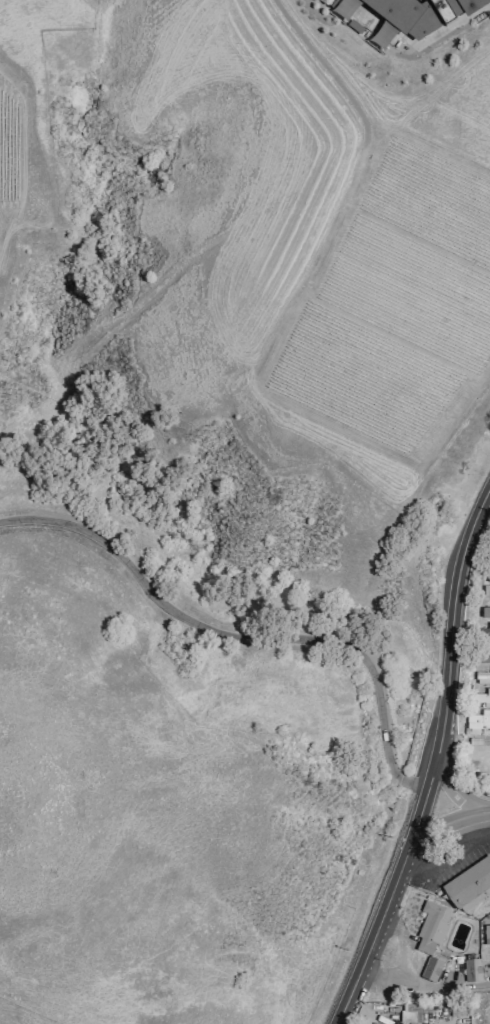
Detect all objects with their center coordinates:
building: (341, 6)
building: (411, 15)
building: (487, 573)
building: (485, 590)
building: (484, 612)
building: (485, 630)
road: (245, 640)
building: (485, 656)
building: (482, 676)
building: (481, 696)
building: (477, 722)
road: (436, 768)
road: (457, 790)
road: (443, 827)
building: (470, 883)
building: (487, 933)
building: (432, 935)
building: (473, 970)
building: (412, 1012)

